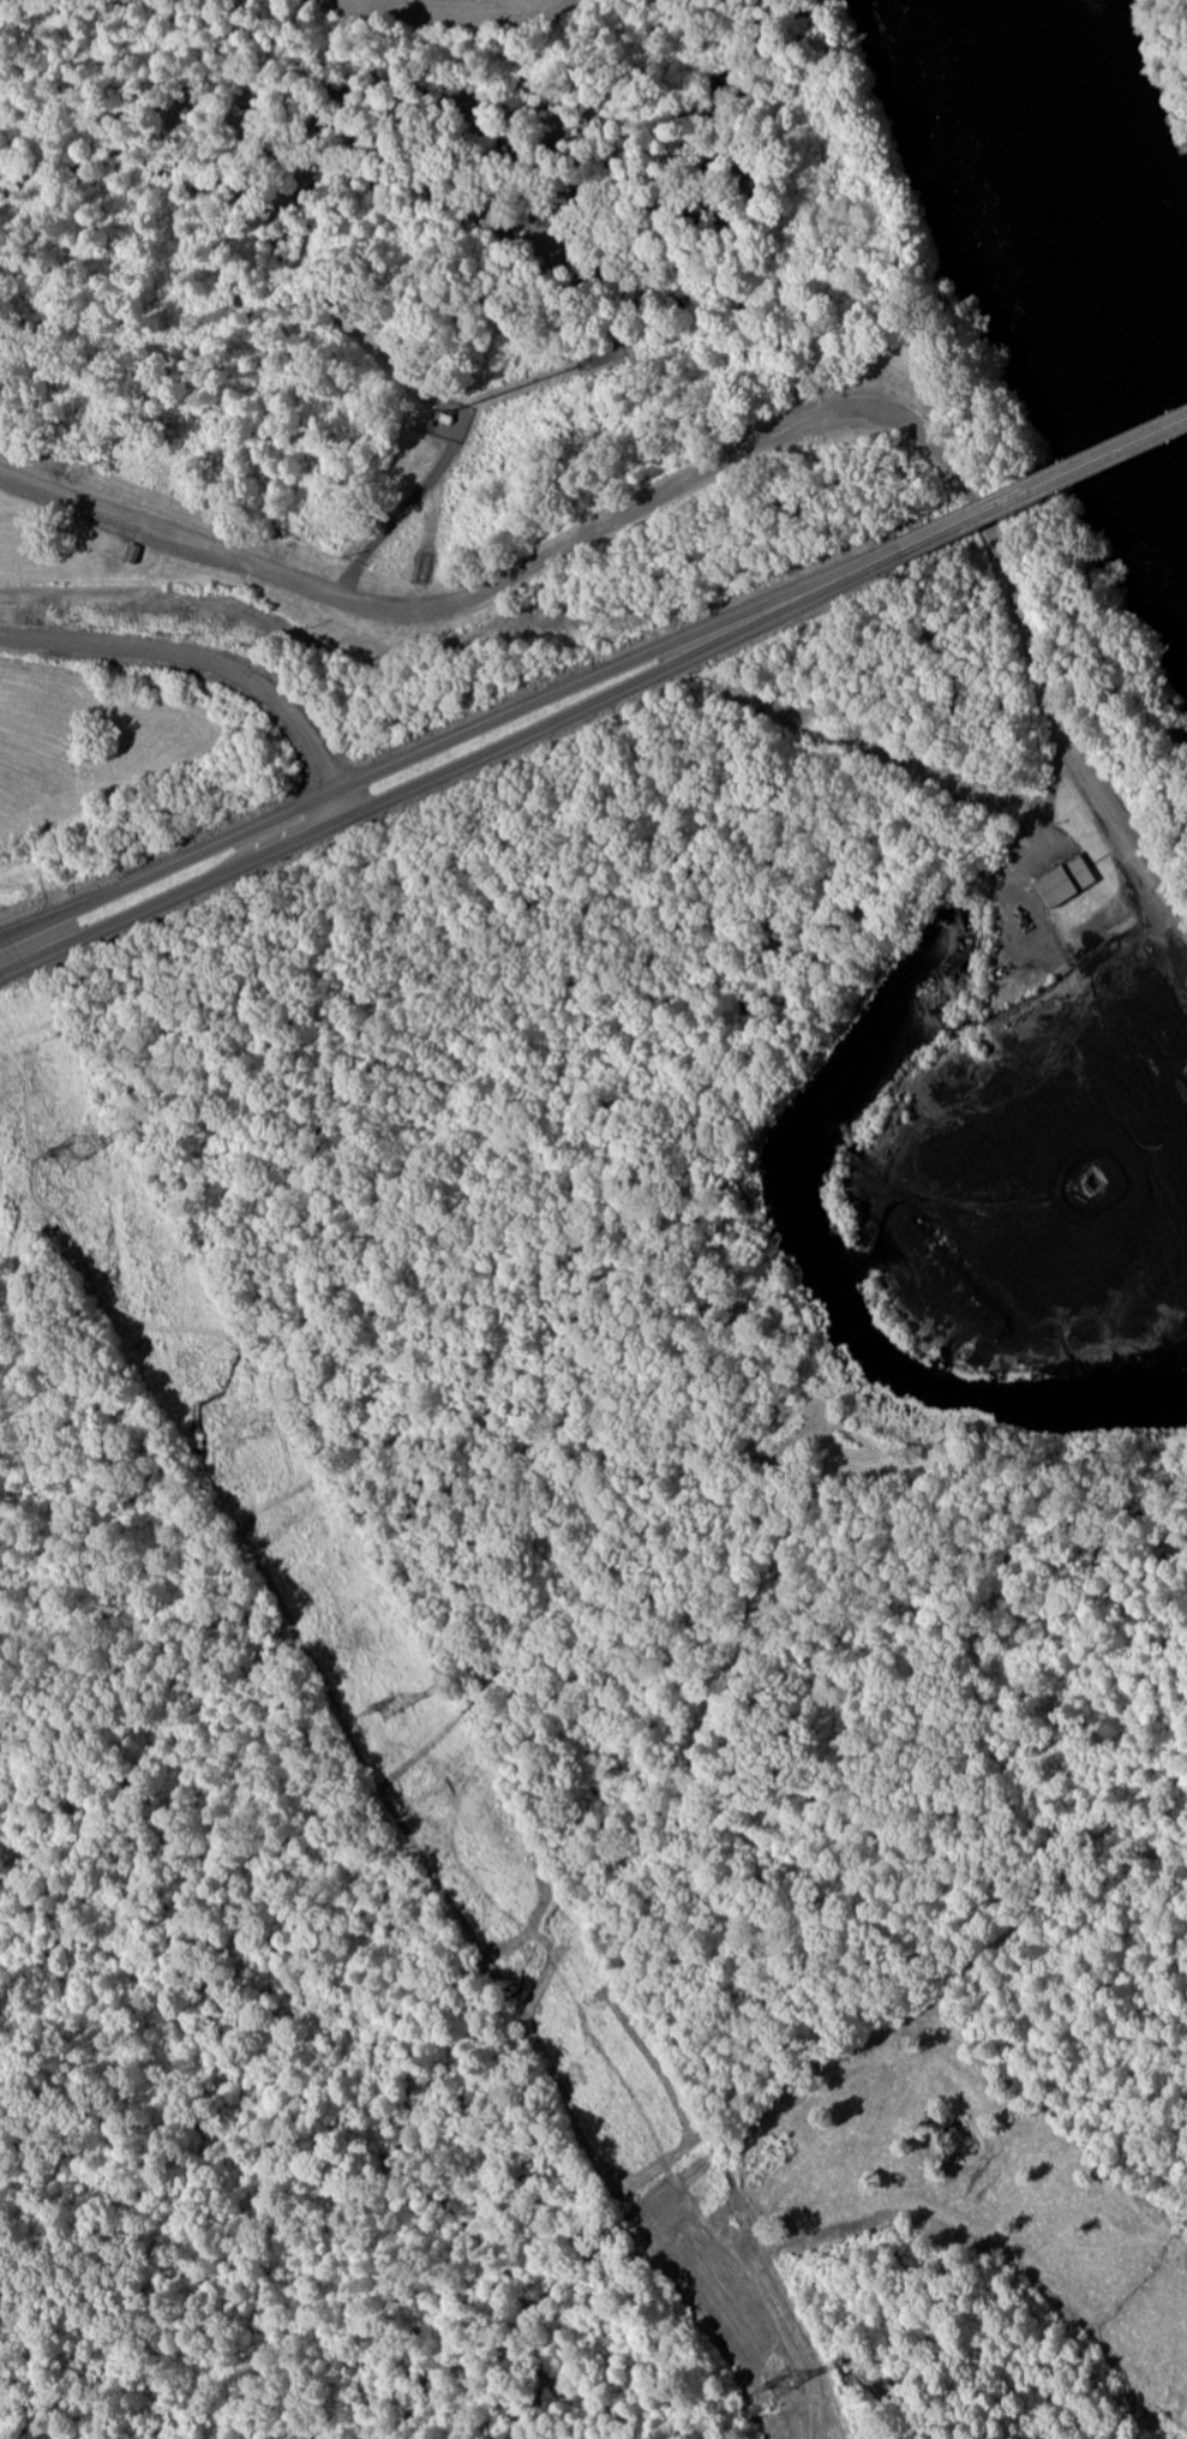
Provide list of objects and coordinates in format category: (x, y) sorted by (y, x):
river: (1092, 198)
road: (725, 470)
road: (1044, 489)
road: (198, 662)
road: (448, 747)
road: (452, 769)
road: (337, 809)
building: (1065, 881)
power tower: (67, 1155)
power tower: (385, 1709)
power tower: (779, 2386)

